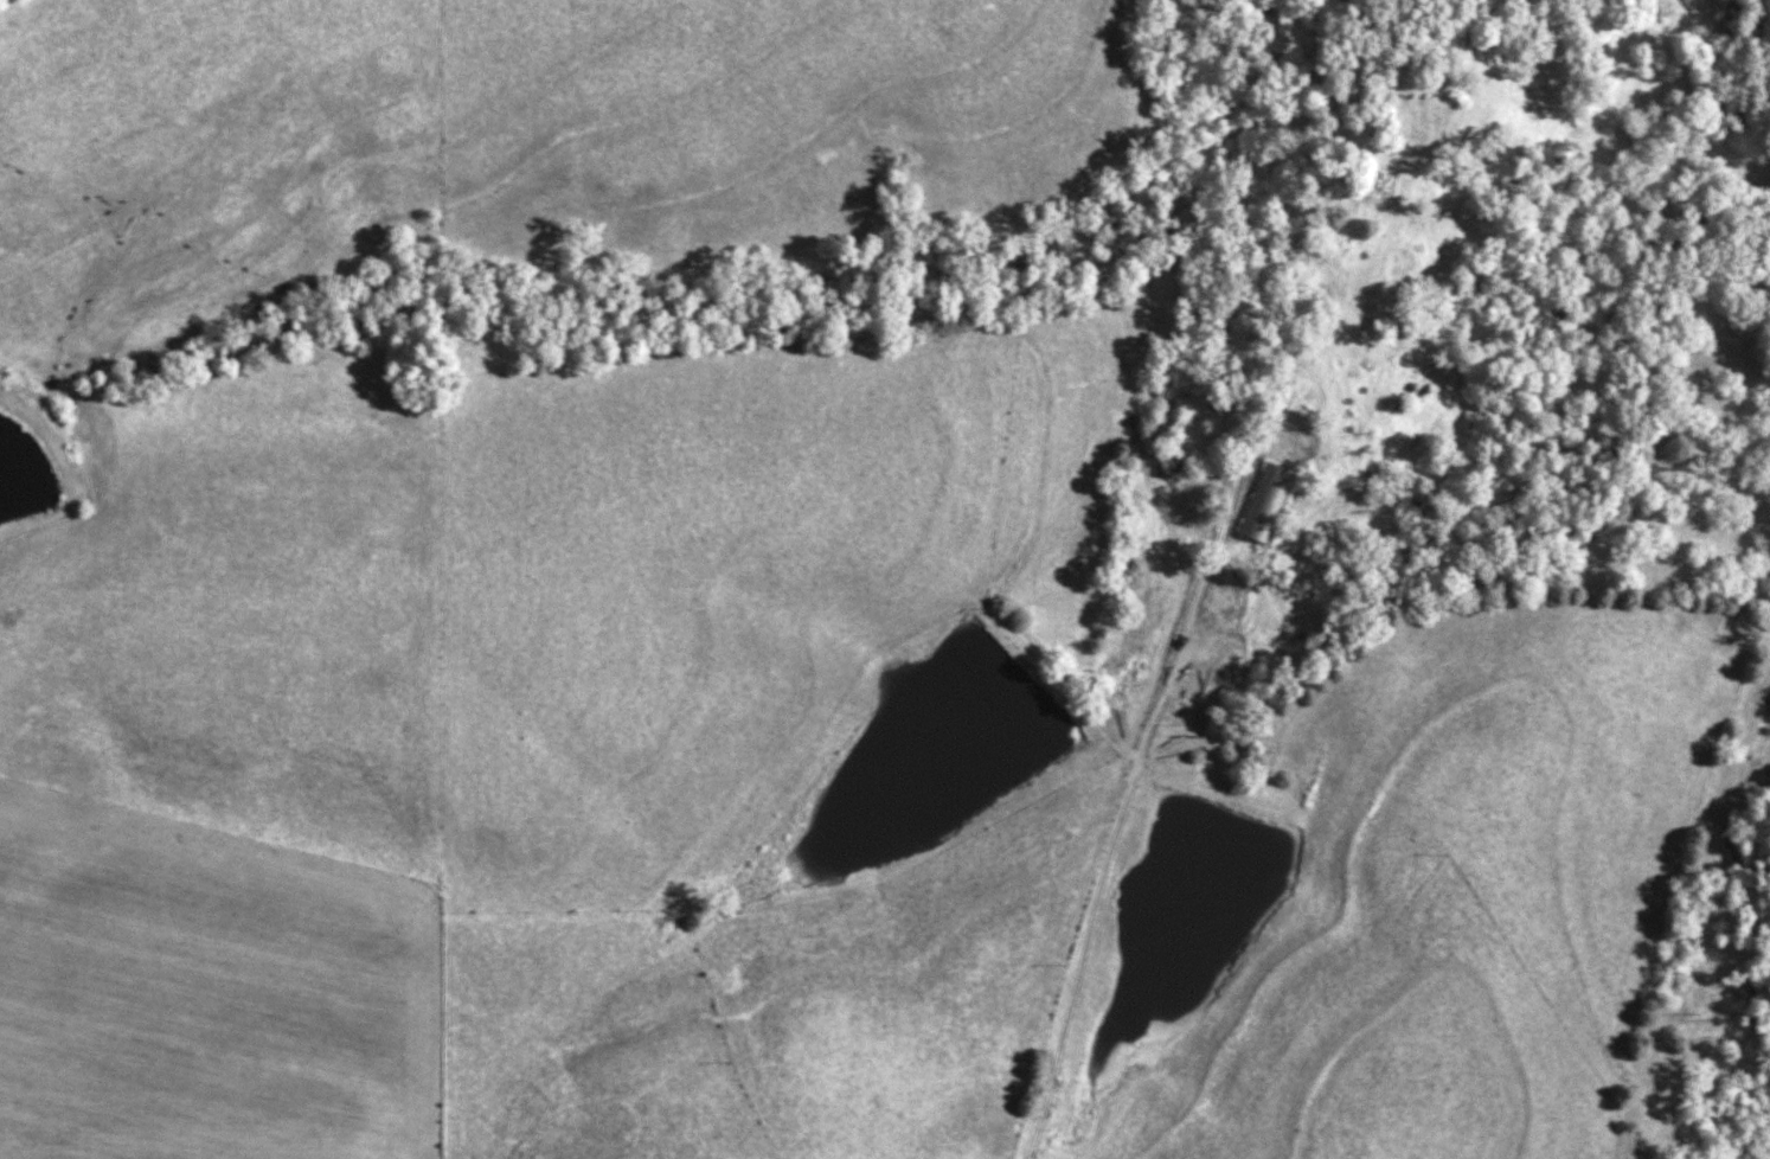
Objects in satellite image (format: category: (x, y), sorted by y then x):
building: (1225, 608)

